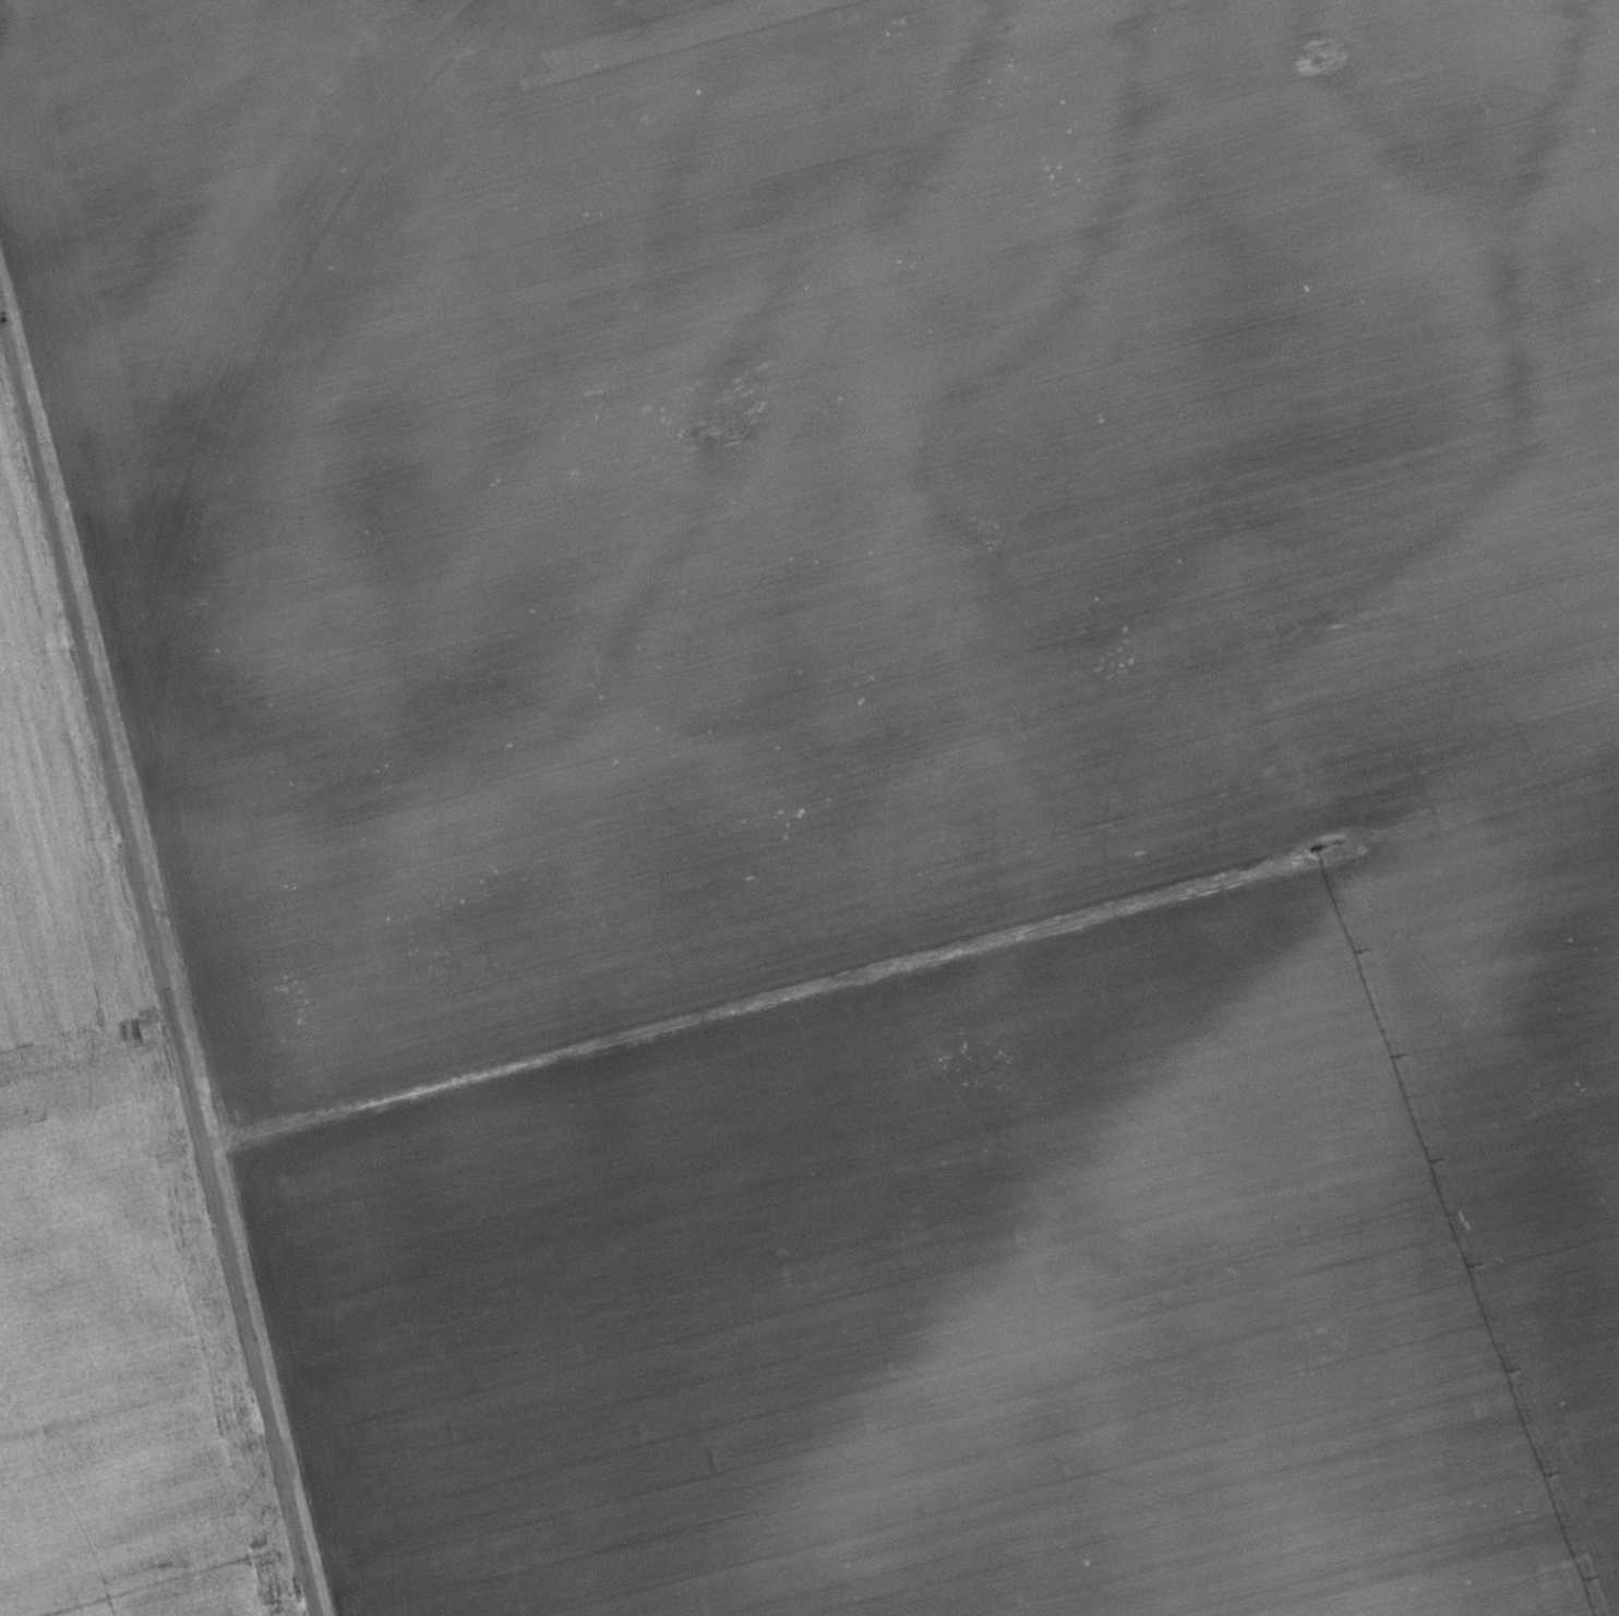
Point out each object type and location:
road: (157, 970)

